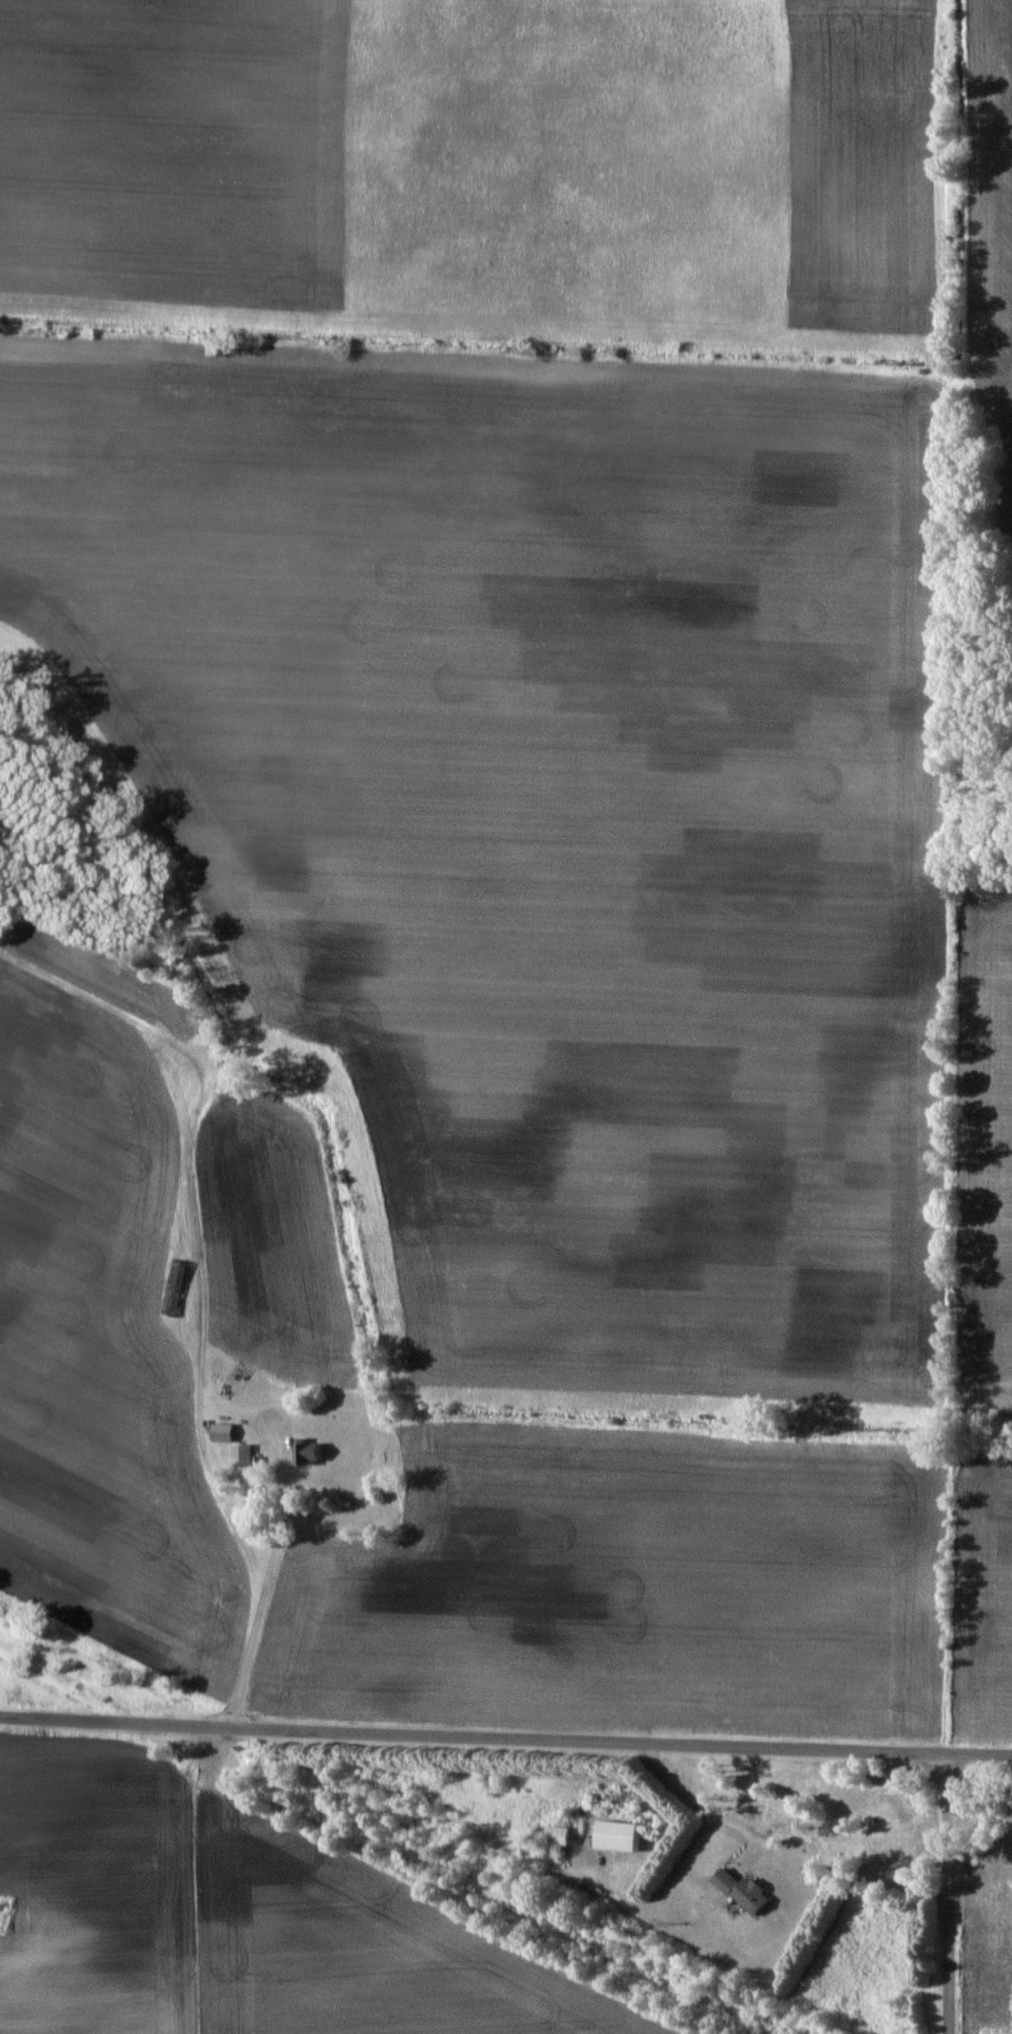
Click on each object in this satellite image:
building: (173, 1287)
building: (221, 1432)
building: (308, 1453)
building: (242, 1455)
road: (505, 1732)
building: (556, 1835)
building: (613, 1835)
building: (741, 1892)
road: (953, 1892)
building: (12, 1920)

